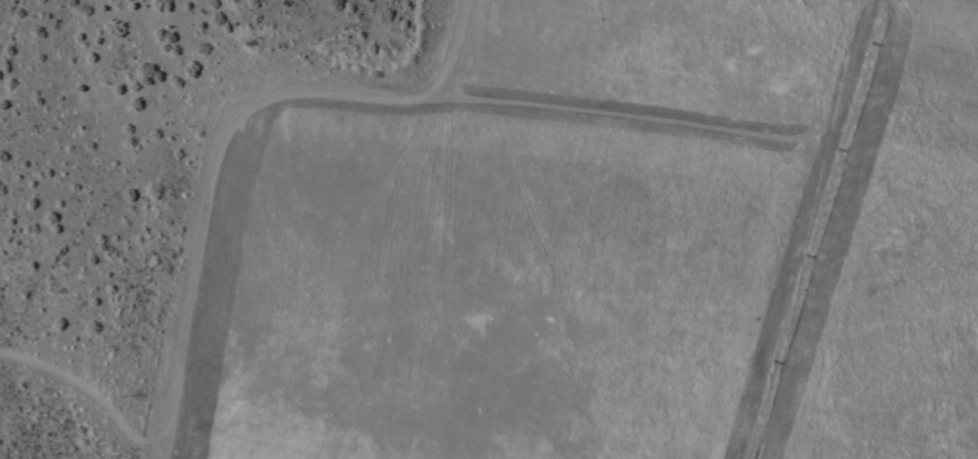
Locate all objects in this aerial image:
road: (672, 26)
road: (388, 231)
crop: (612, 243)

